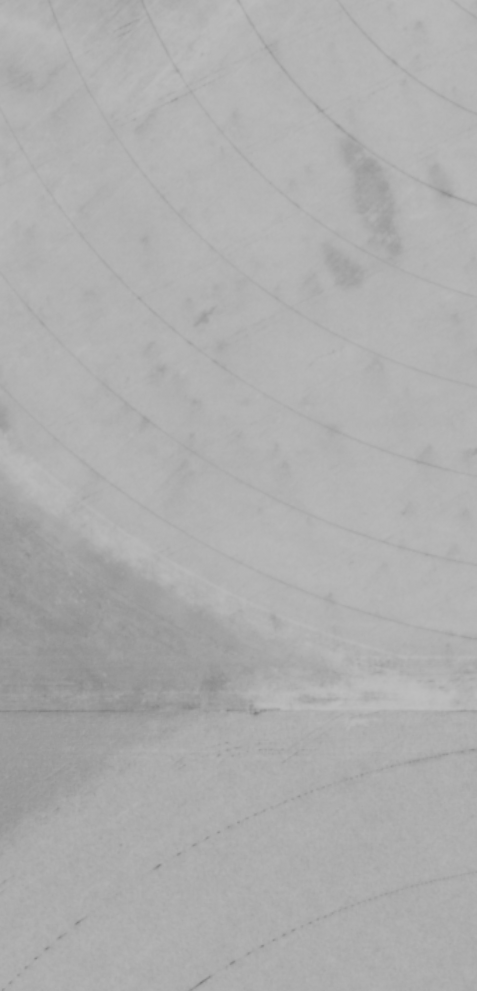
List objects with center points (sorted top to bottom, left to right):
crop: (238, 495)

